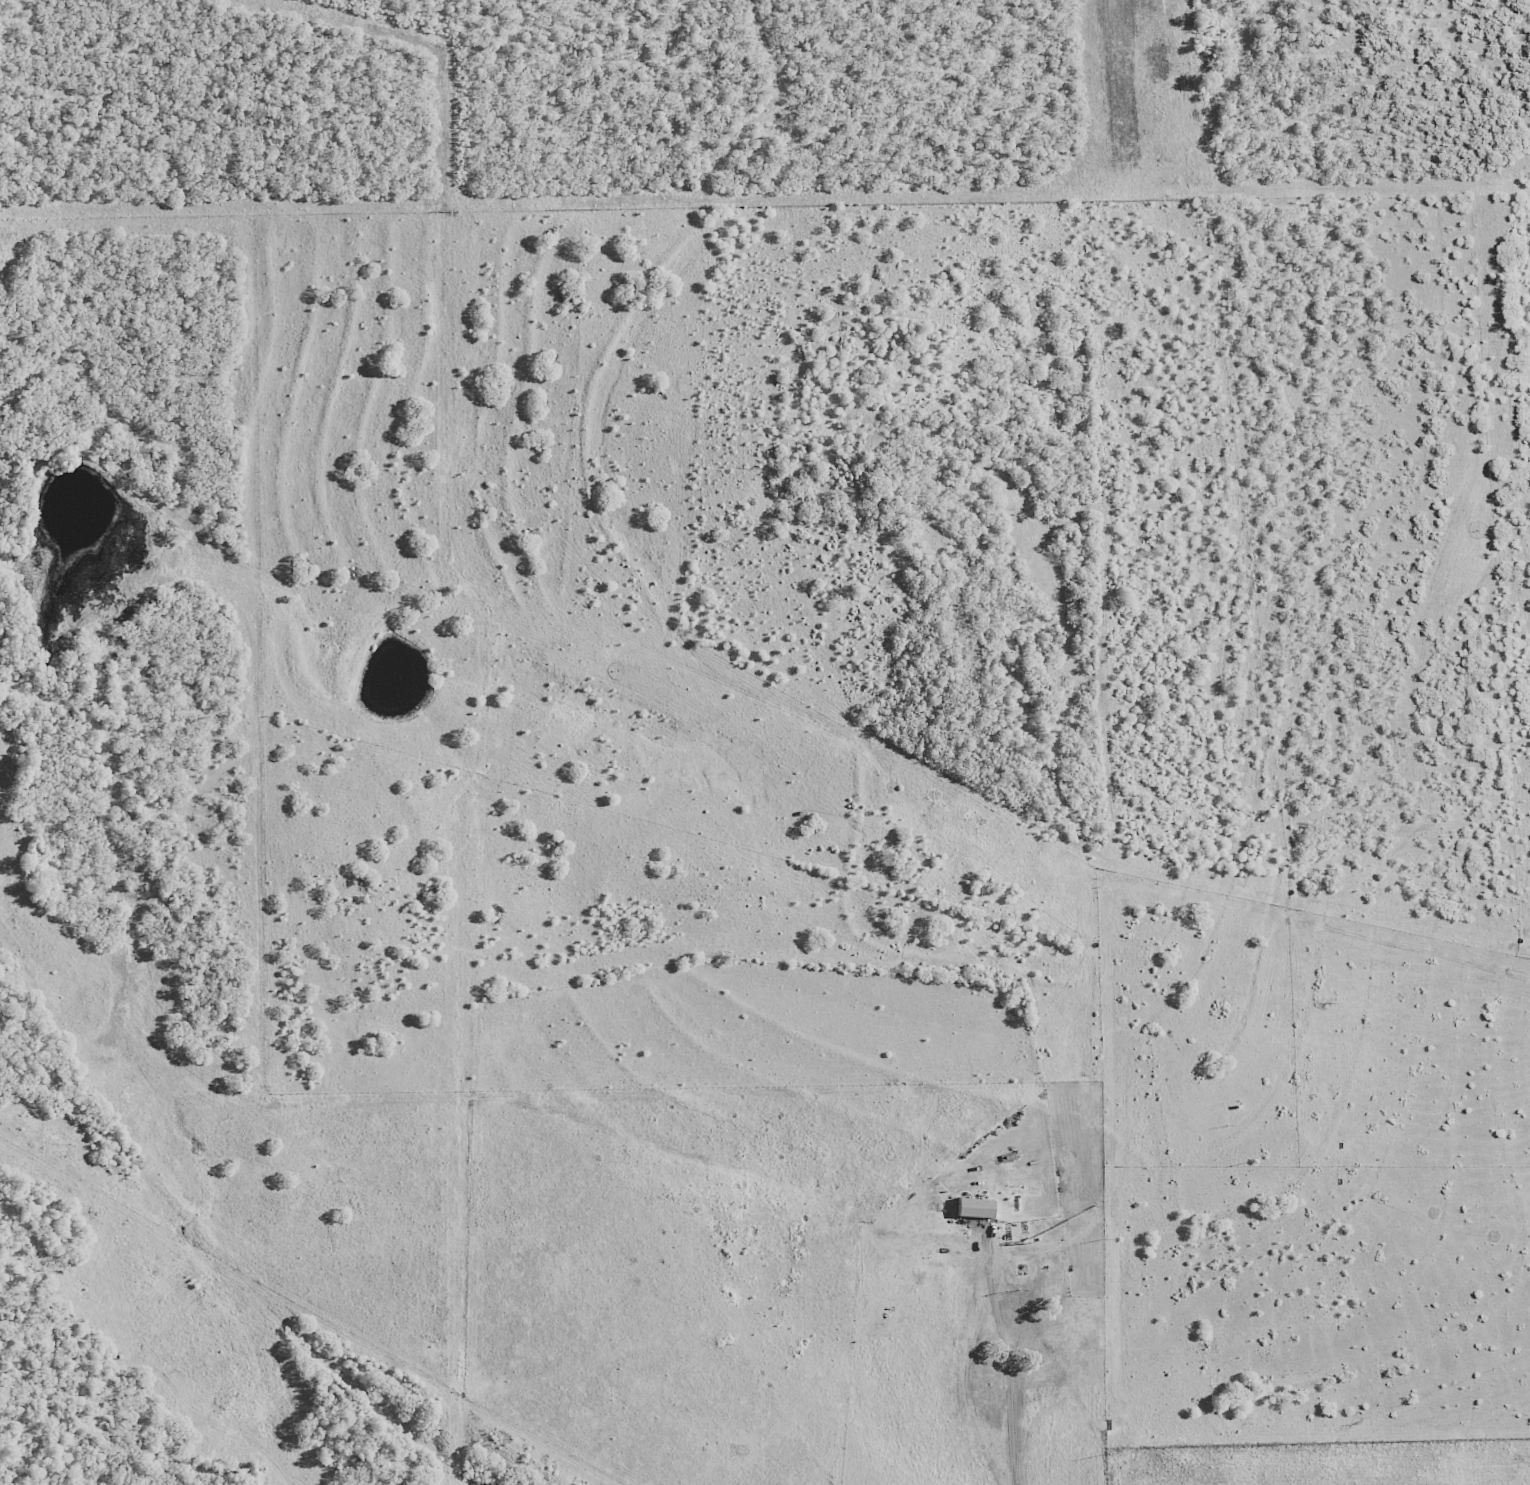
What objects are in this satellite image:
building: (969, 1208)
road: (992, 1409)

